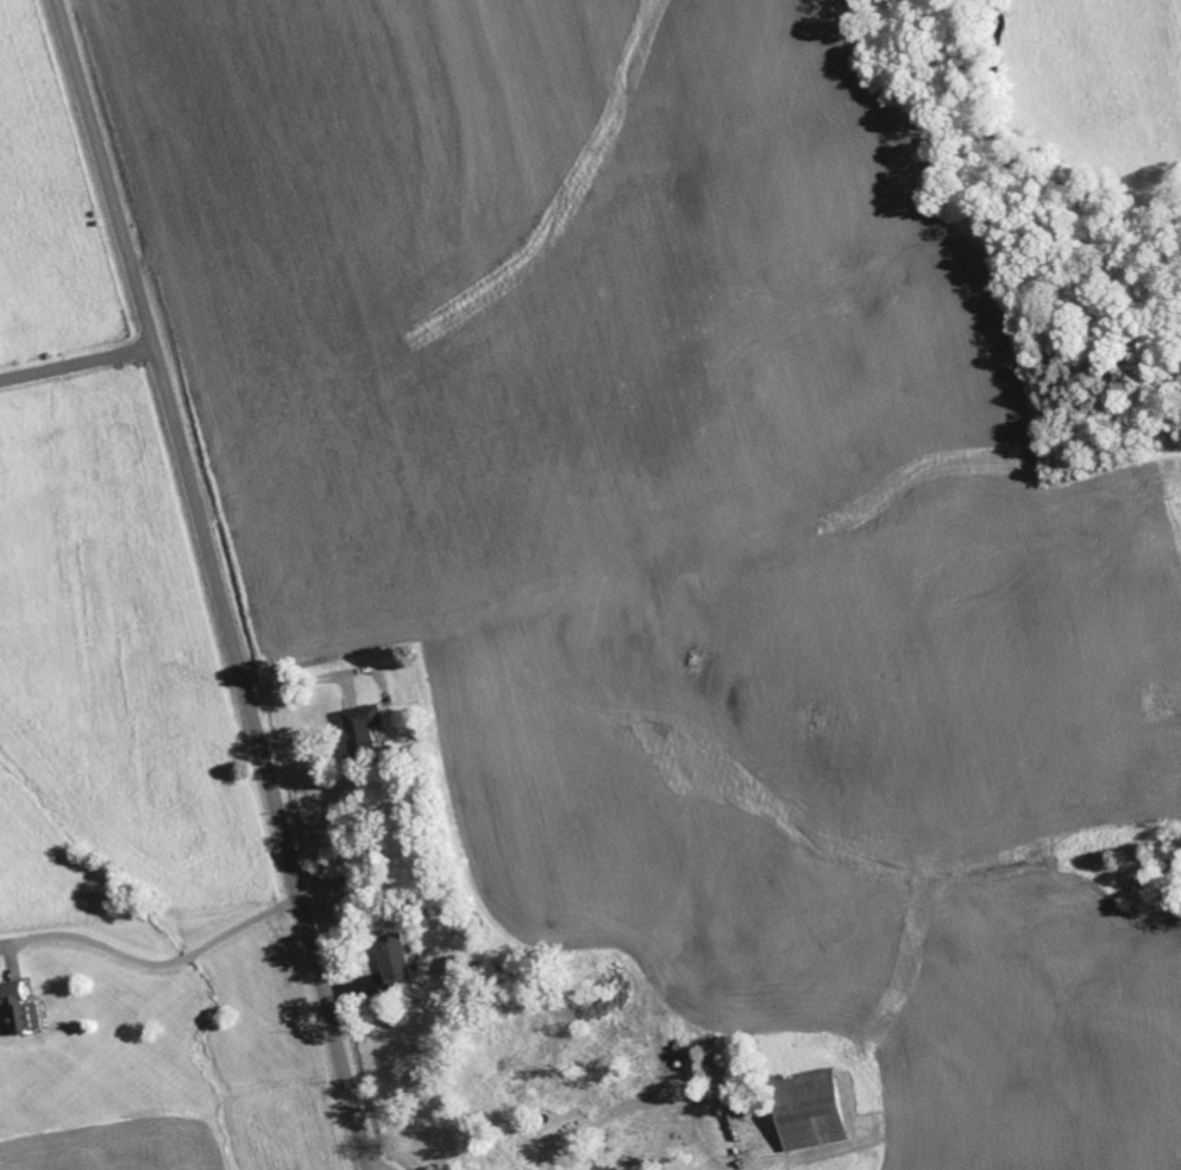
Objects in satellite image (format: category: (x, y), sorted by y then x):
road: (76, 365)
road: (215, 583)
building: (365, 734)
building: (396, 958)
building: (20, 1012)
building: (813, 1111)

